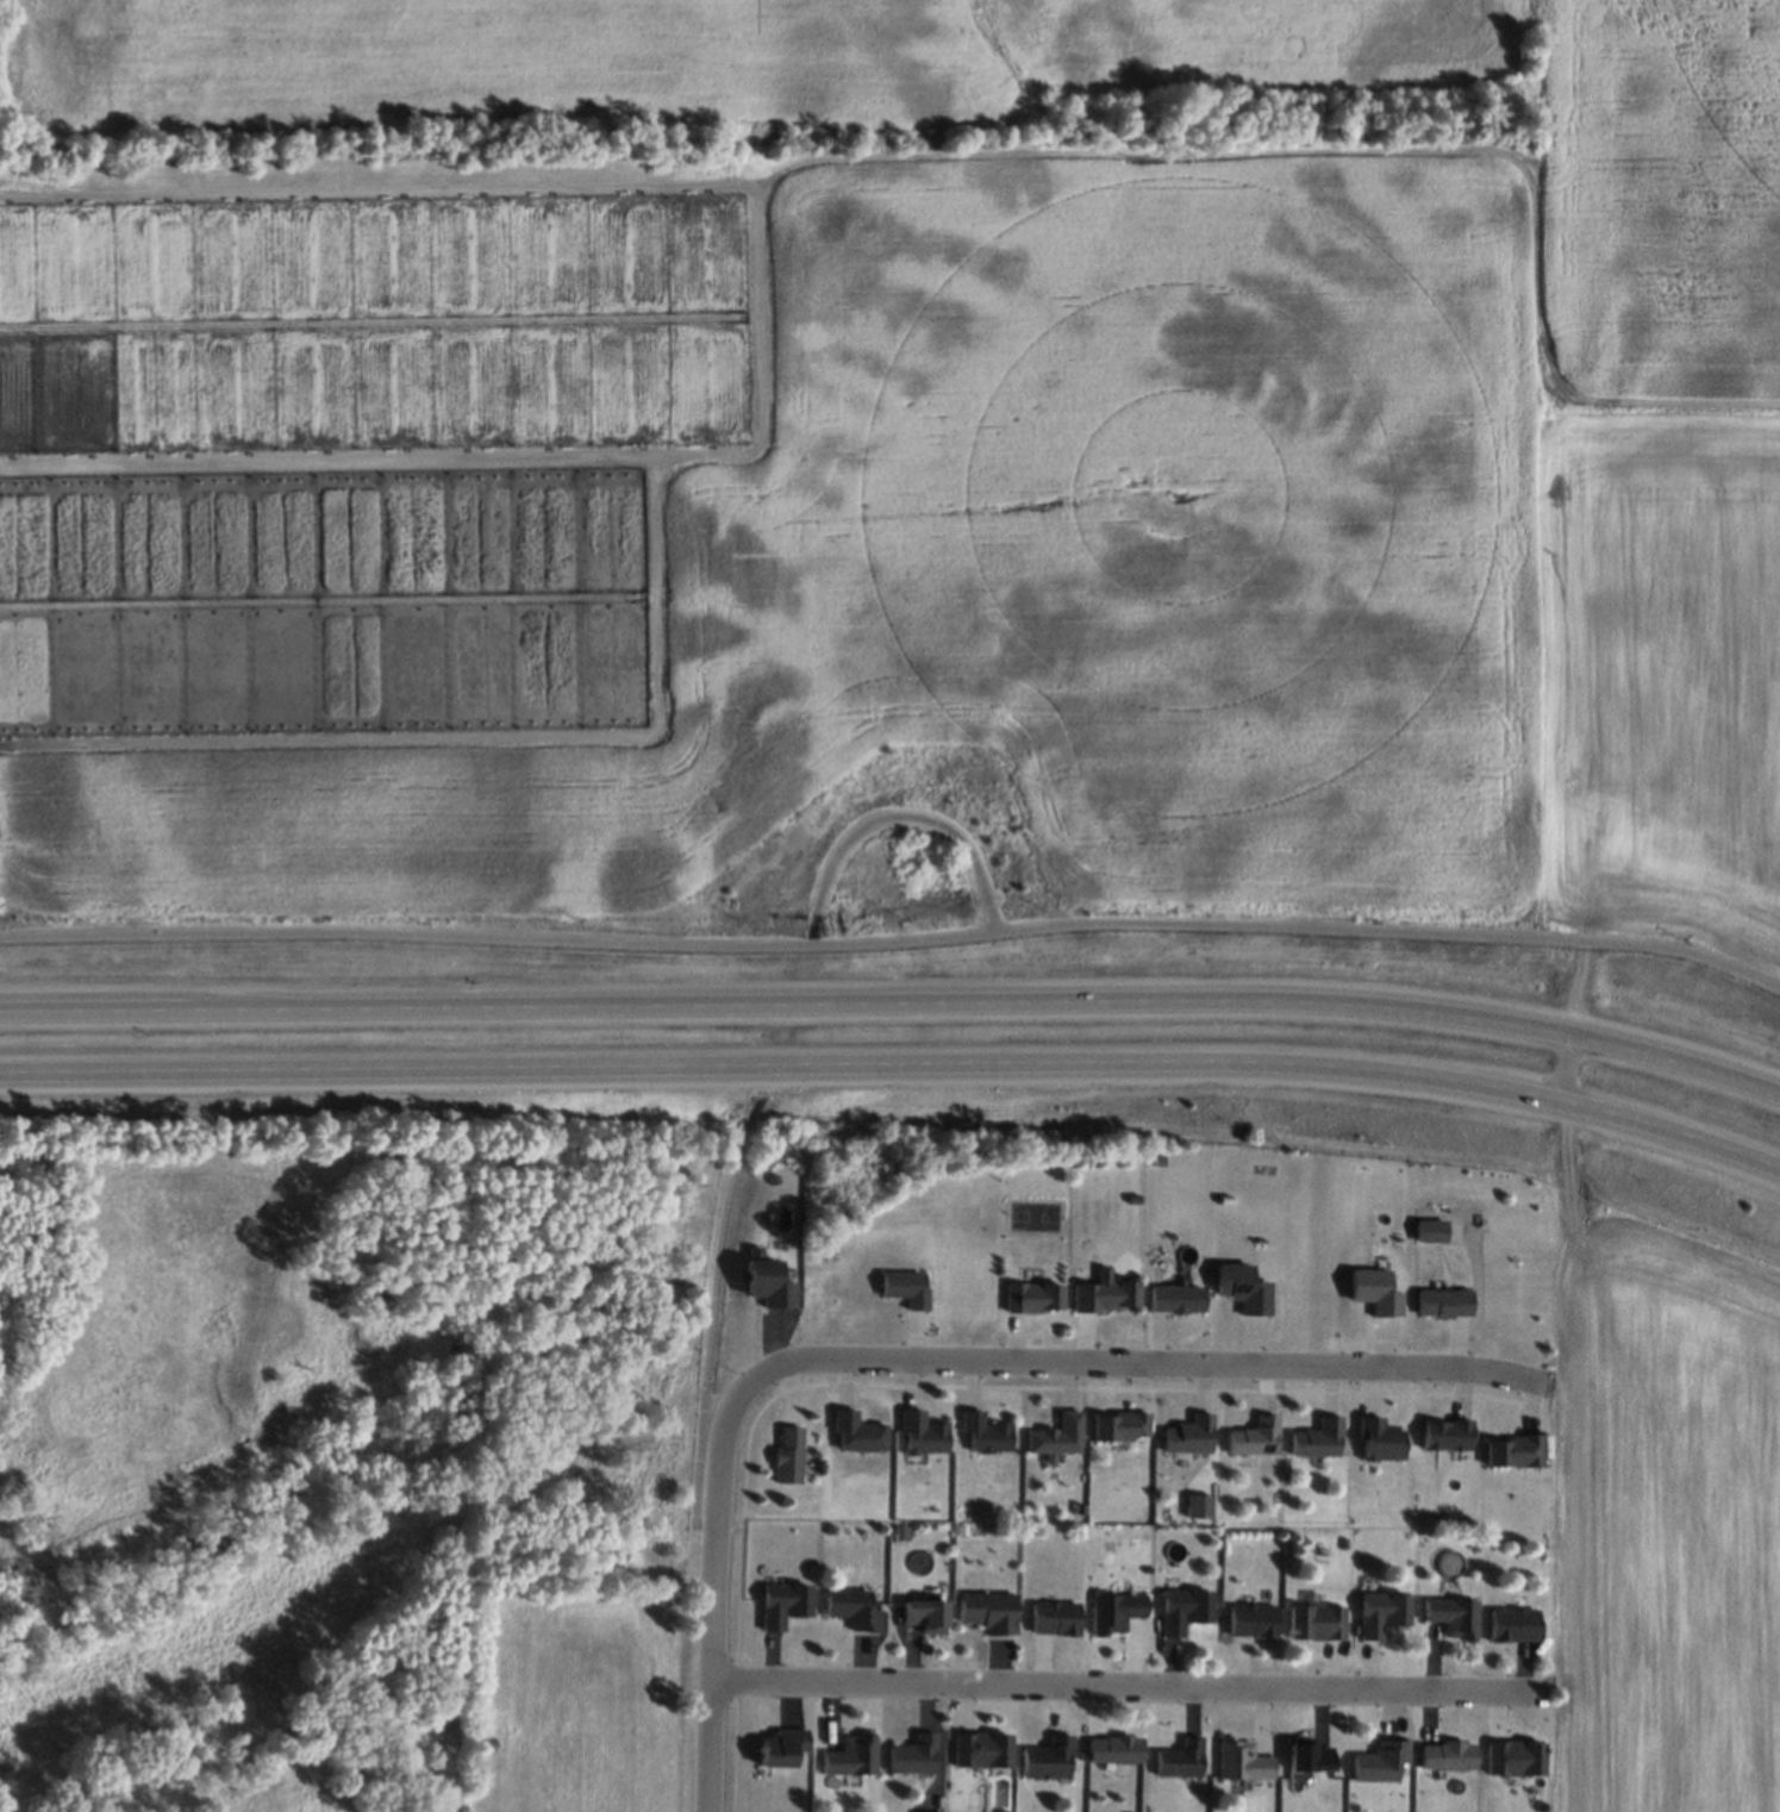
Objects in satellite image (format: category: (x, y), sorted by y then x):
crop: (892, 449)
road: (1543, 468)
building: (193, 536)
building: (570, 614)
building: (349, 654)
building: (301, 714)
road: (899, 814)
road: (894, 941)
road: (894, 1001)
road: (898, 1061)
building: (1430, 1230)
building: (767, 1282)
building: (905, 1288)
building: (1243, 1288)
building: (1374, 1291)
building: (1105, 1294)
building: (1032, 1299)
building: (1175, 1299)
building: (1443, 1302)
road: (712, 1320)
road: (1144, 1362)
building: (1119, 1425)
building: (855, 1432)
building: (920, 1433)
building: (1448, 1433)
building: (983, 1435)
building: (1056, 1435)
building: (1188, 1435)
building: (1254, 1437)
building: (1318, 1438)
building: (1379, 1439)
building: (1517, 1450)
building: (786, 1454)
crop: (1662, 1512)
road: (713, 1592)
building: (782, 1604)
building: (851, 1608)
building: (1185, 1610)
building: (988, 1611)
building: (1114, 1612)
building: (1382, 1613)
building: (924, 1614)
building: (1453, 1617)
building: (1054, 1618)
building: (1251, 1620)
building: (1317, 1622)
building: (1513, 1624)
road: (1125, 1685)
building: (781, 1748)
building: (1114, 1749)
building: (980, 1750)
building: (1448, 1754)
building: (1309, 1755)
building: (850, 1756)
building: (912, 1756)
building: (1516, 1757)
building: (1180, 1758)
building: (1048, 1760)
building: (1243, 1760)
building: (1382, 1761)

